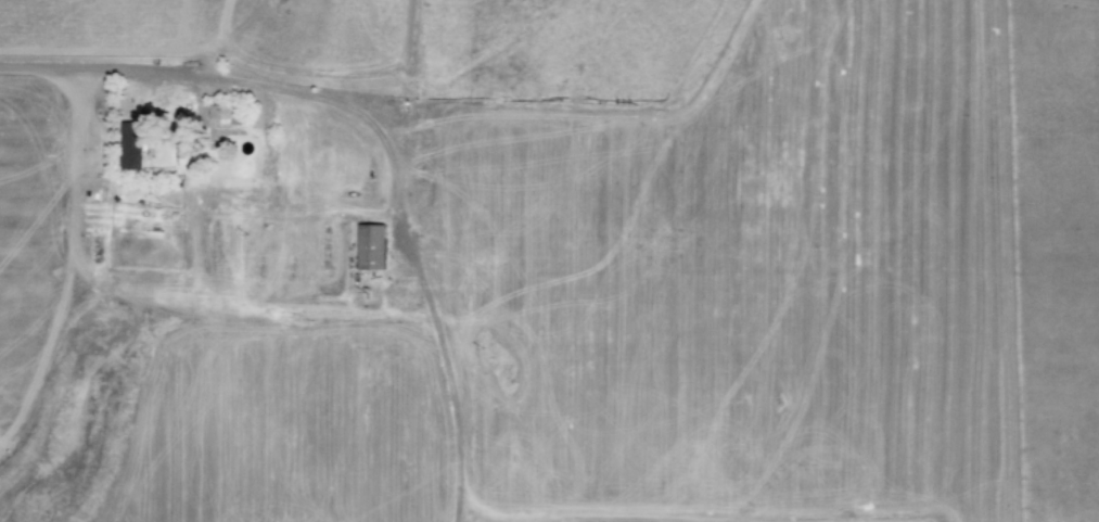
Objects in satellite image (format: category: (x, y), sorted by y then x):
road: (89, 66)
building: (225, 115)
building: (130, 144)
building: (371, 246)

